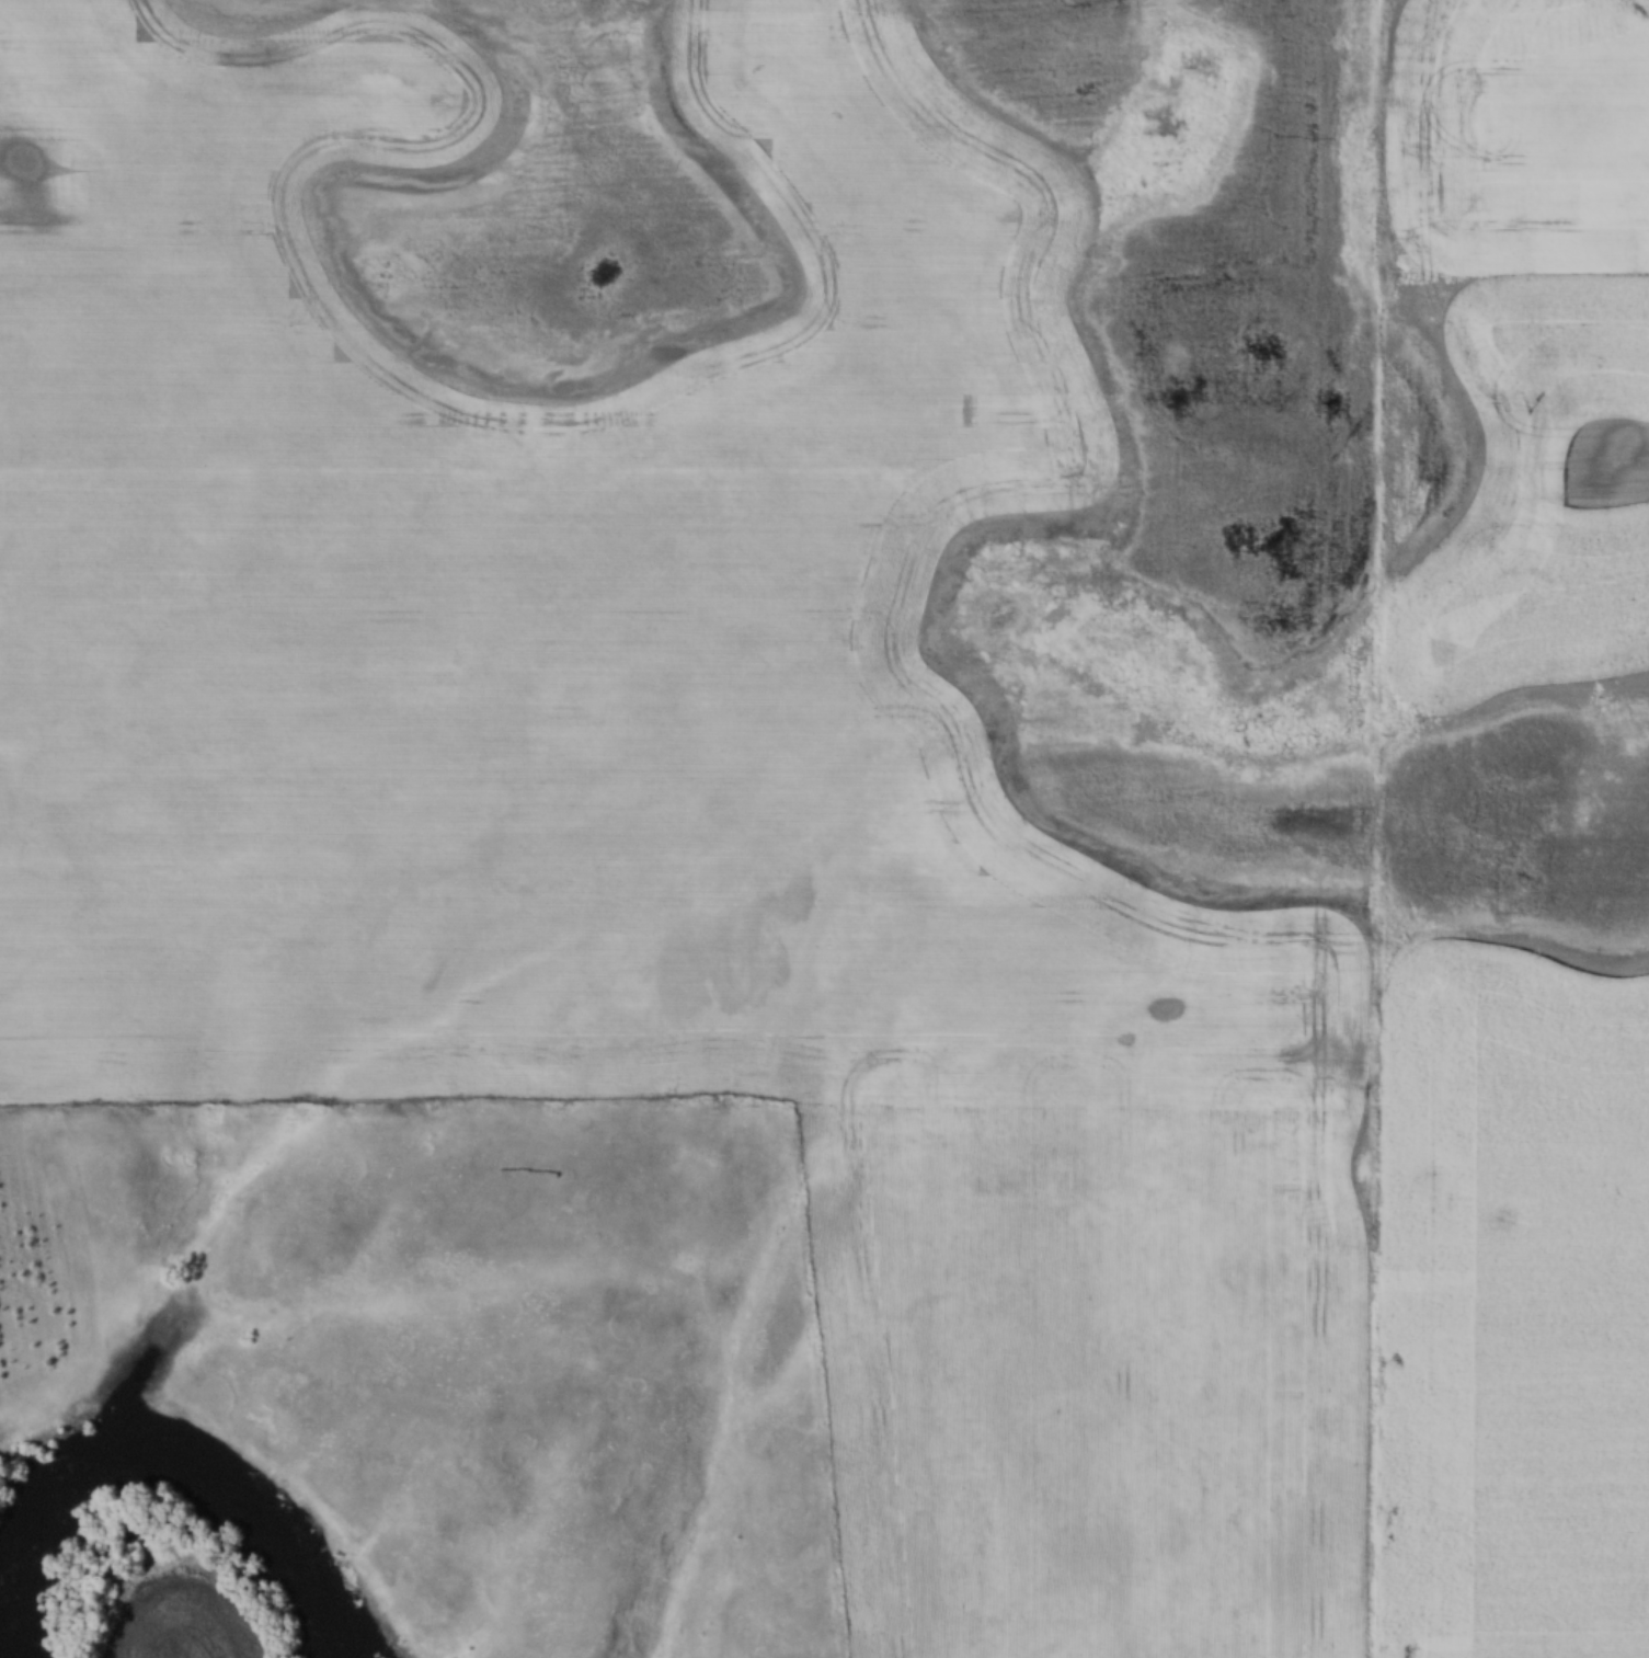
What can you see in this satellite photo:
river: (153, 1455)

